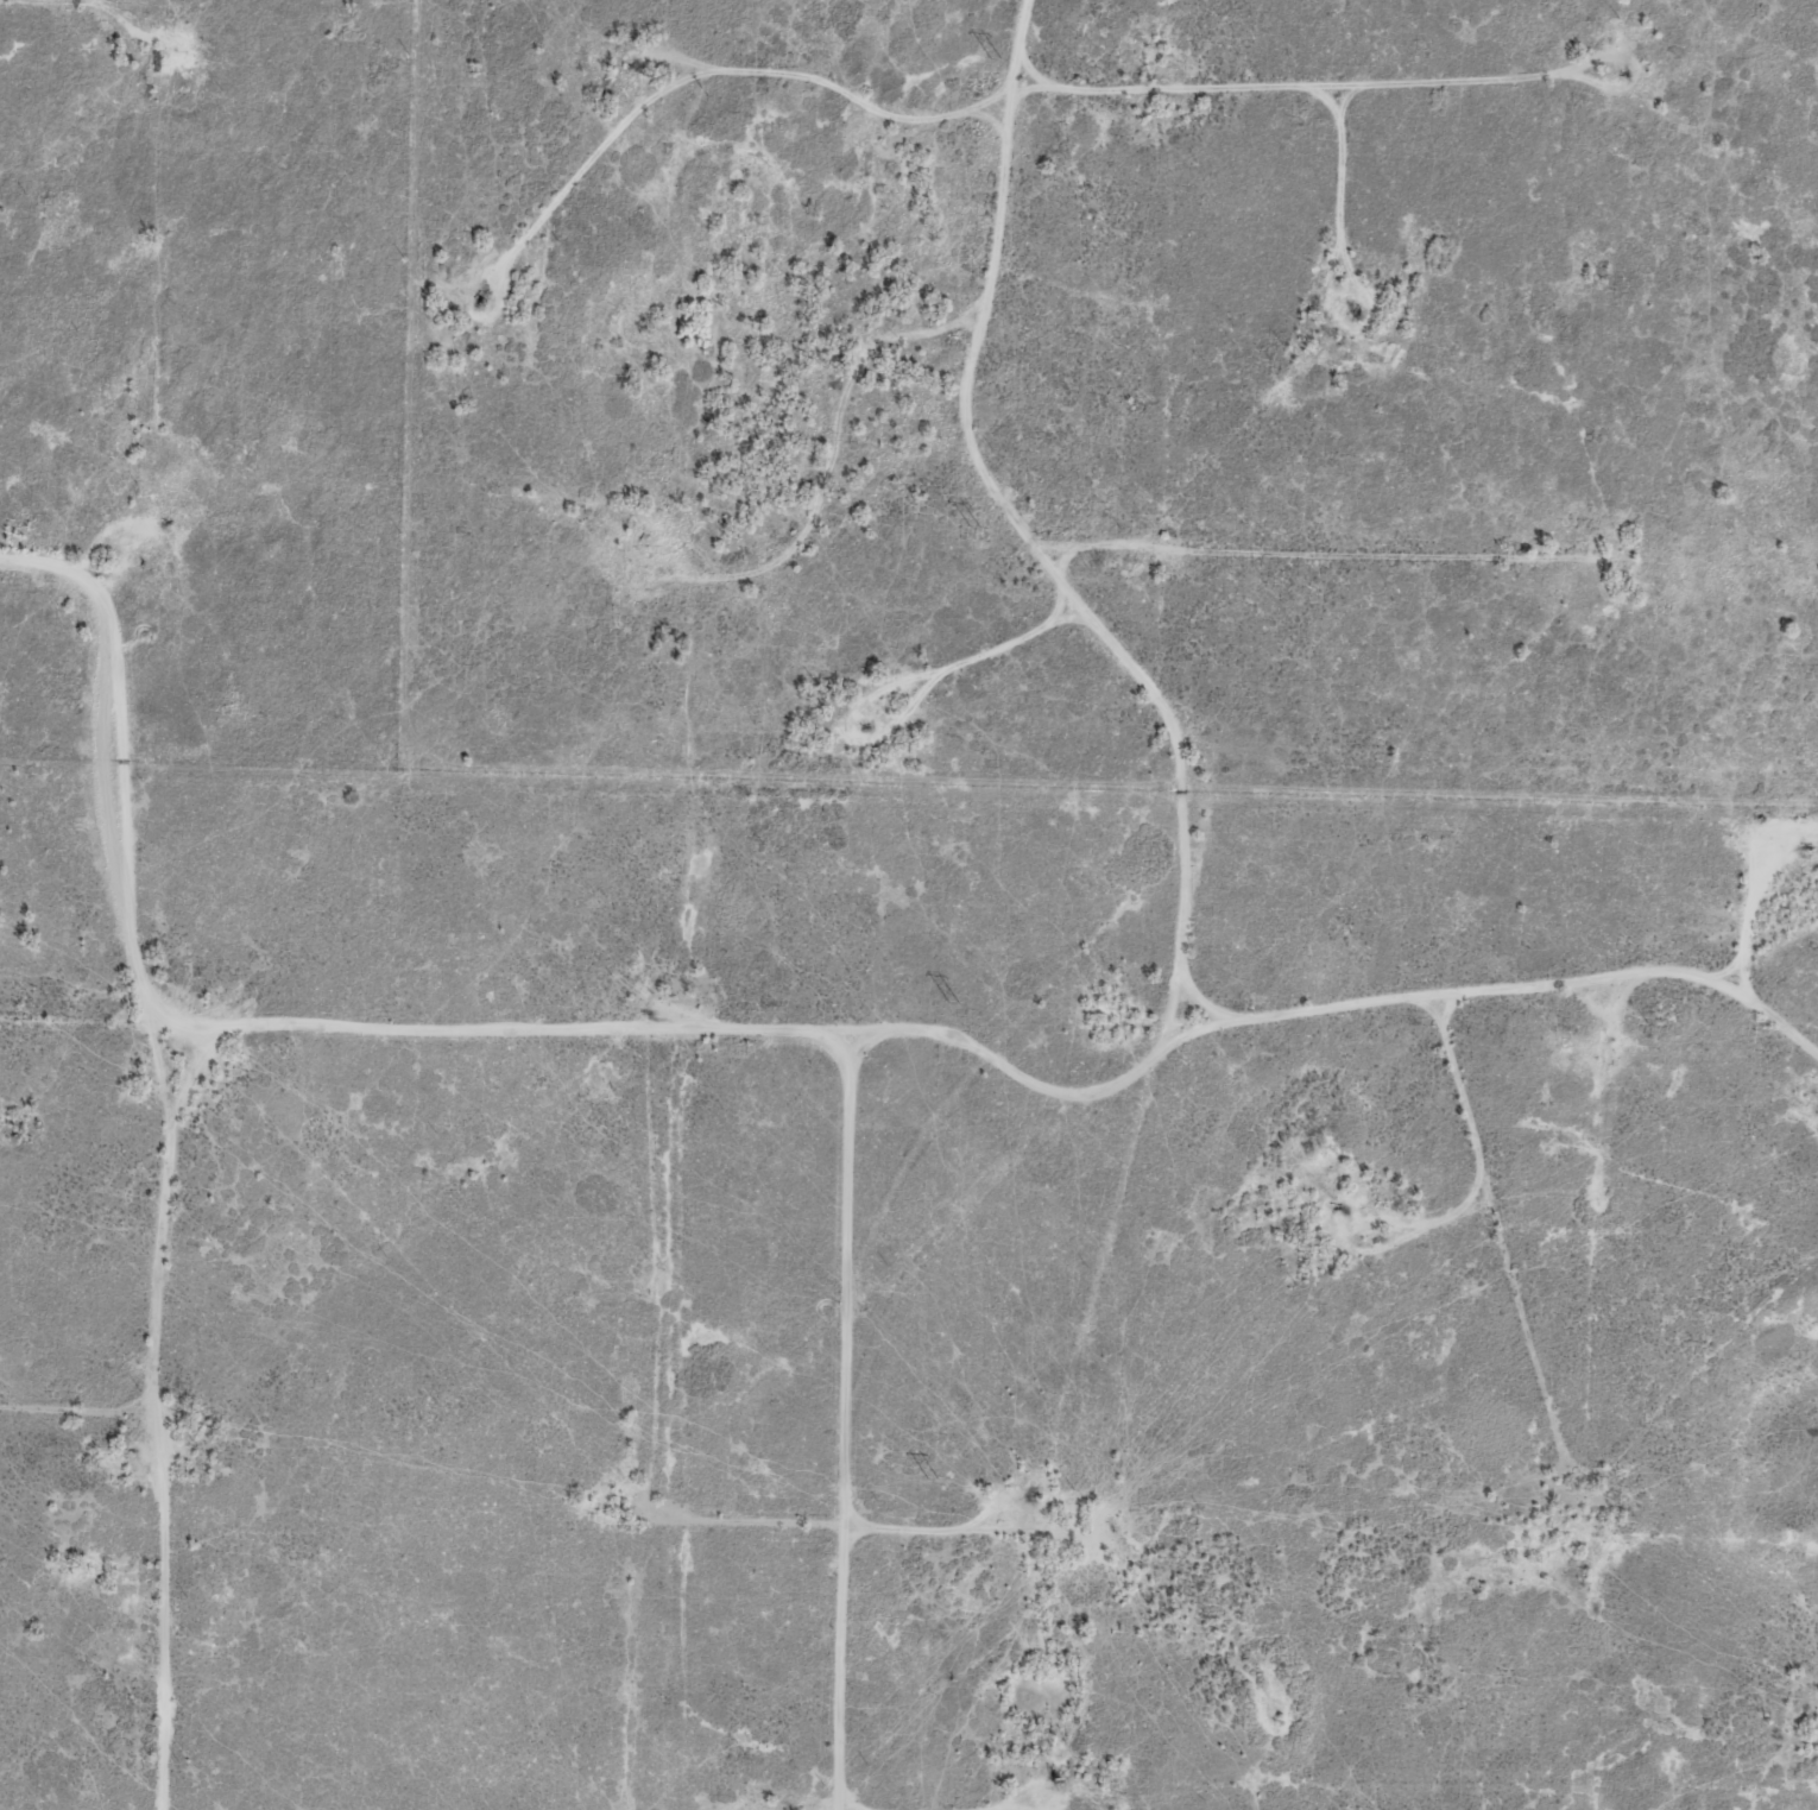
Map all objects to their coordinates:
power tower: (993, 58)
road: (865, 115)
road: (1256, 183)
road: (471, 269)
road: (965, 468)
road: (866, 515)
power tower: (974, 526)
road: (629, 529)
road: (1163, 572)
power tower: (954, 1003)
road: (920, 1058)
road: (1193, 1109)
road: (223, 1116)
road: (1629, 1421)
road: (910, 1437)
road: (103, 1438)
power tower: (930, 1478)
road: (766, 1532)

